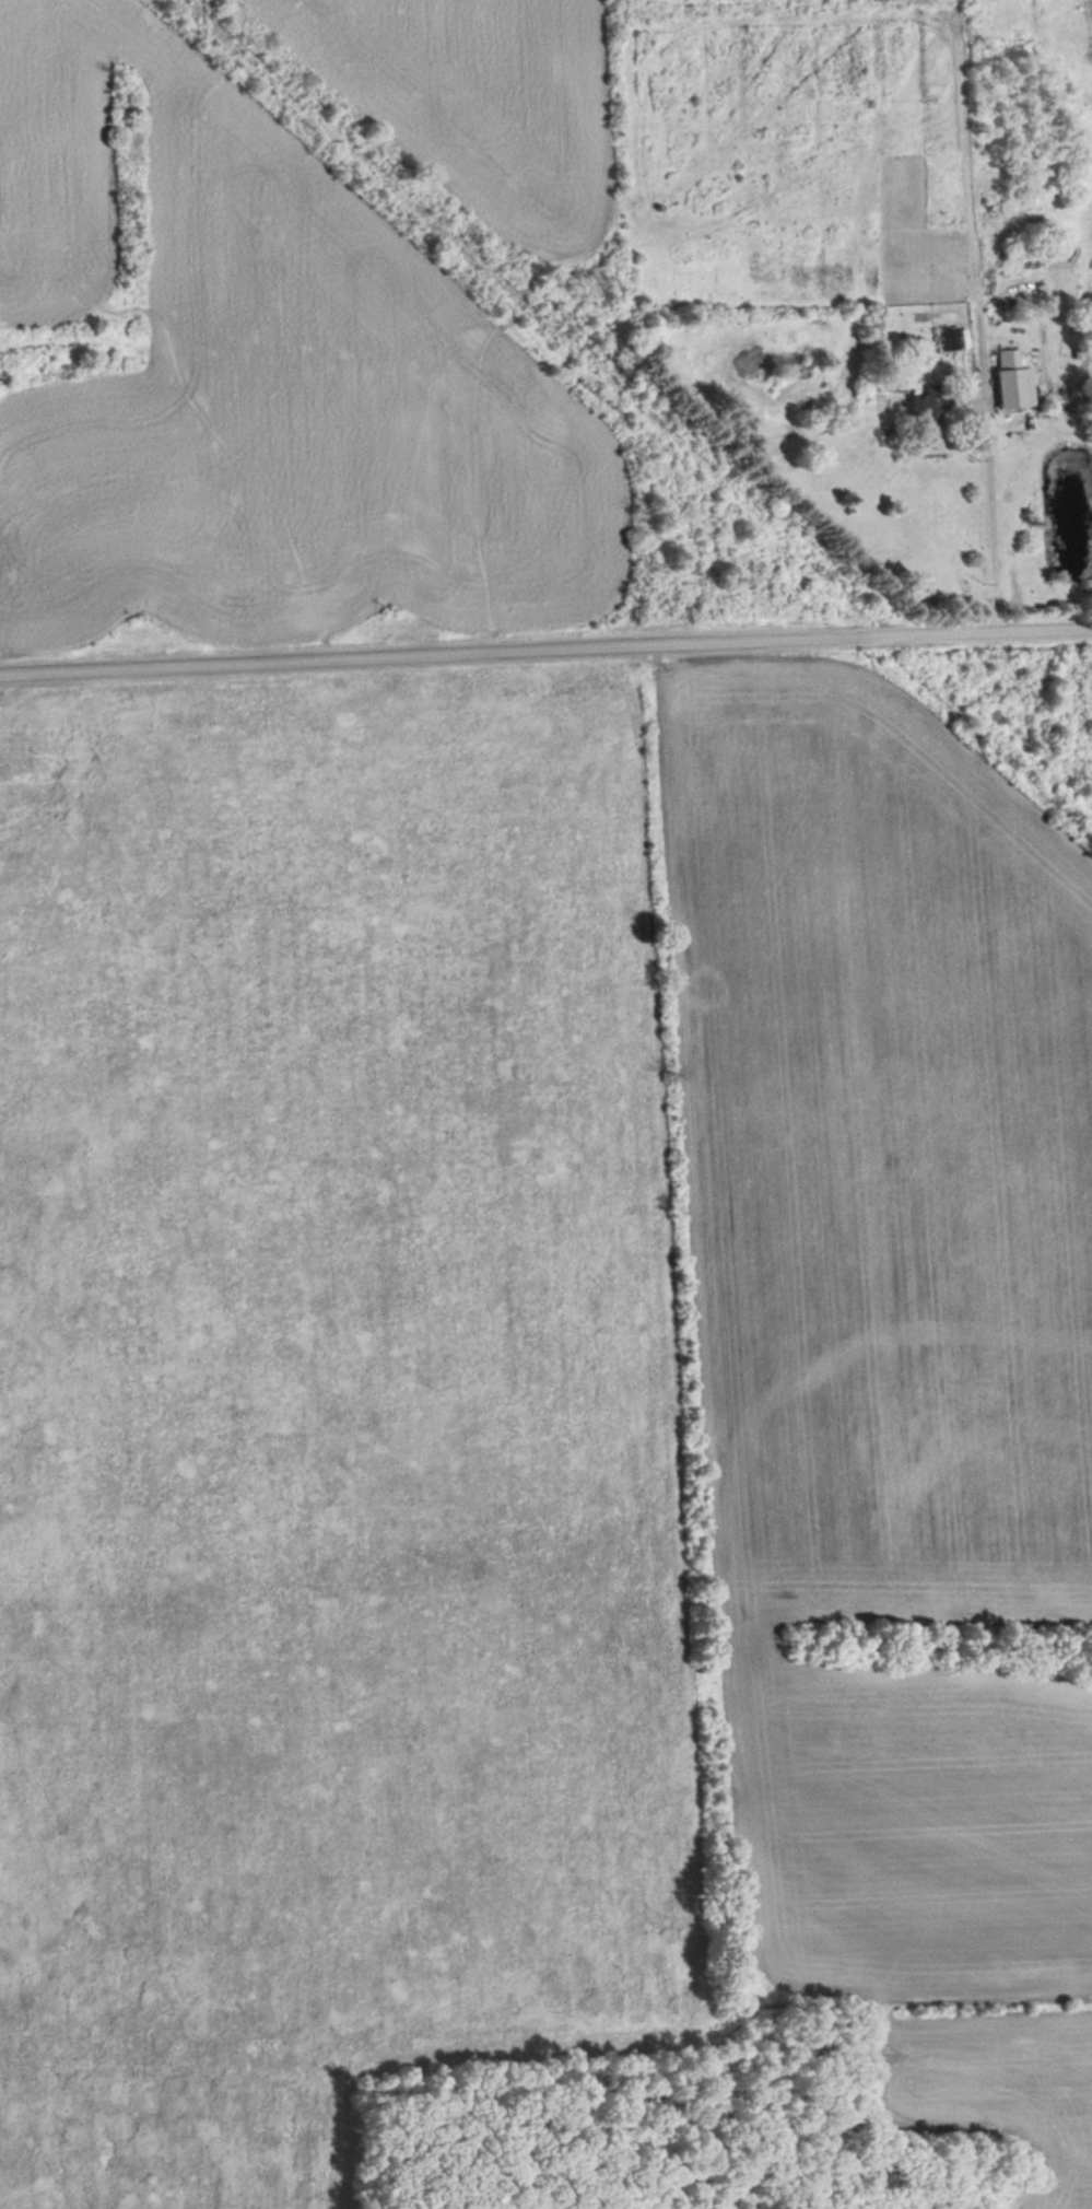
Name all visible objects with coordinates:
building: (1005, 226)
building: (949, 339)
building: (1012, 382)
railway: (634, 406)
building: (929, 420)
road: (545, 648)

